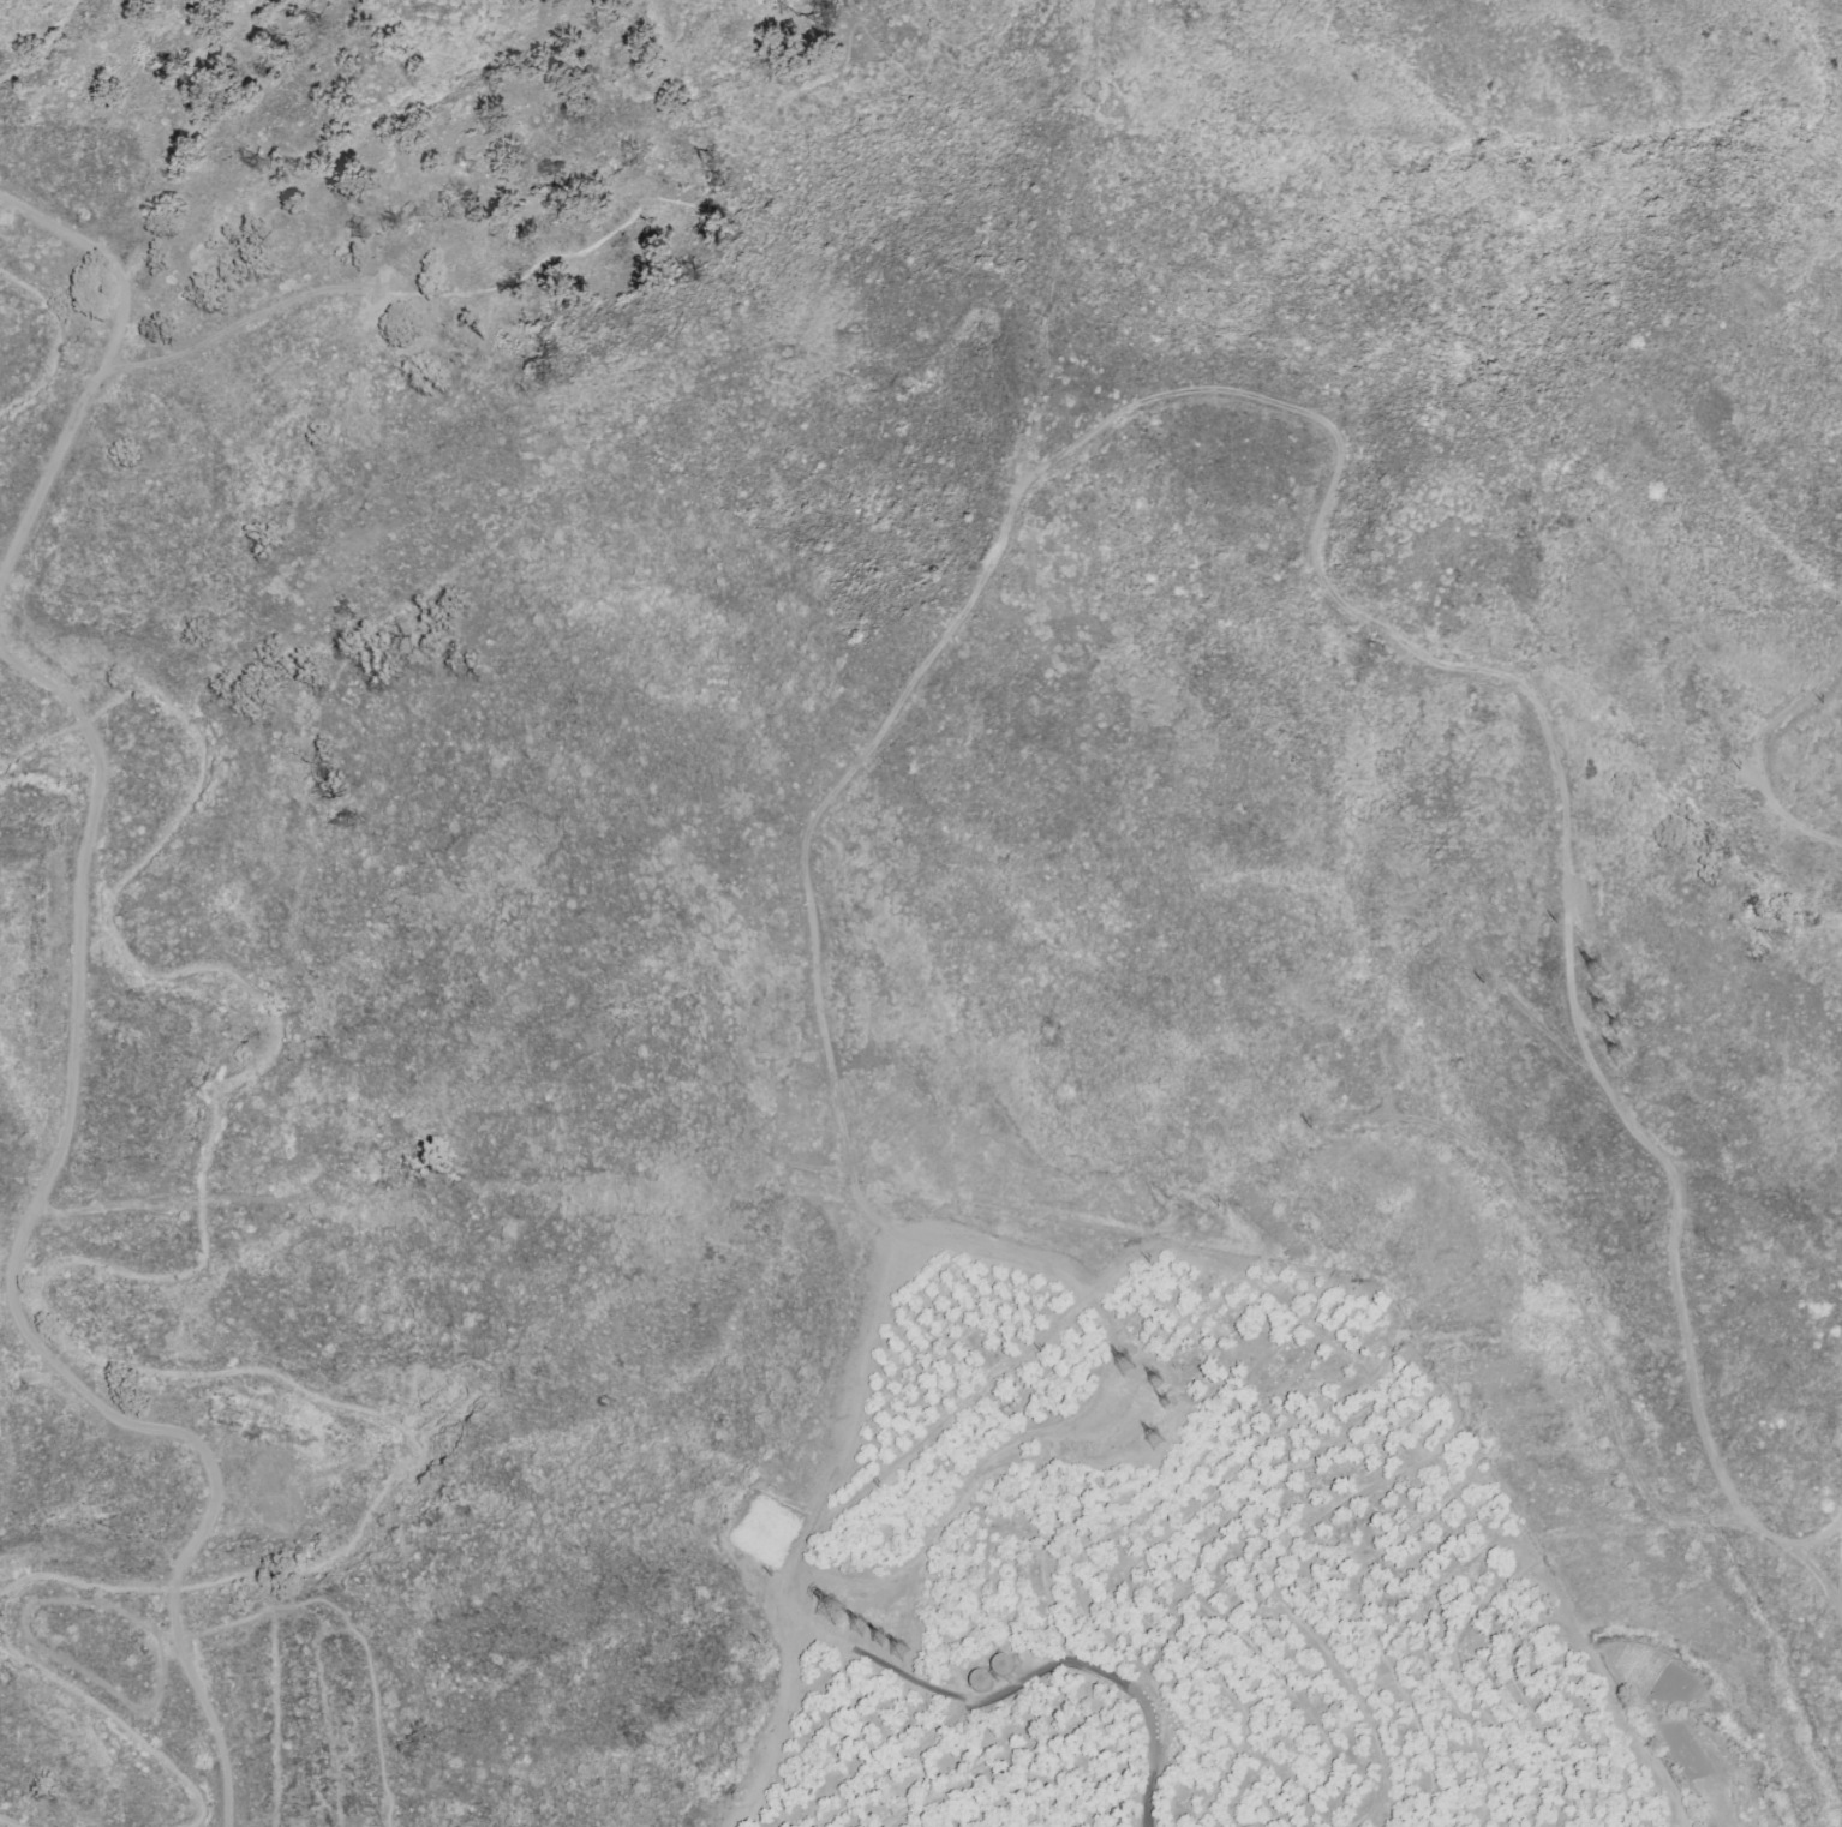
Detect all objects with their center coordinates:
road: (199, 146)
road: (253, 236)
road: (393, 296)
road: (724, 378)
road: (515, 516)
power tower: (1603, 976)
road: (77, 1010)
power tower: (1607, 1012)
power tower: (1619, 1029)
power tower: (1620, 1058)
road: (366, 1128)
power tower: (1128, 1367)
power tower: (1155, 1383)
power tower: (1167, 1406)
power tower: (1155, 1442)
power tower: (832, 1613)
road: (357, 1628)
power tower: (860, 1630)
power tower: (879, 1641)
road: (30, 1642)
power tower: (899, 1654)
road: (1119, 1684)

